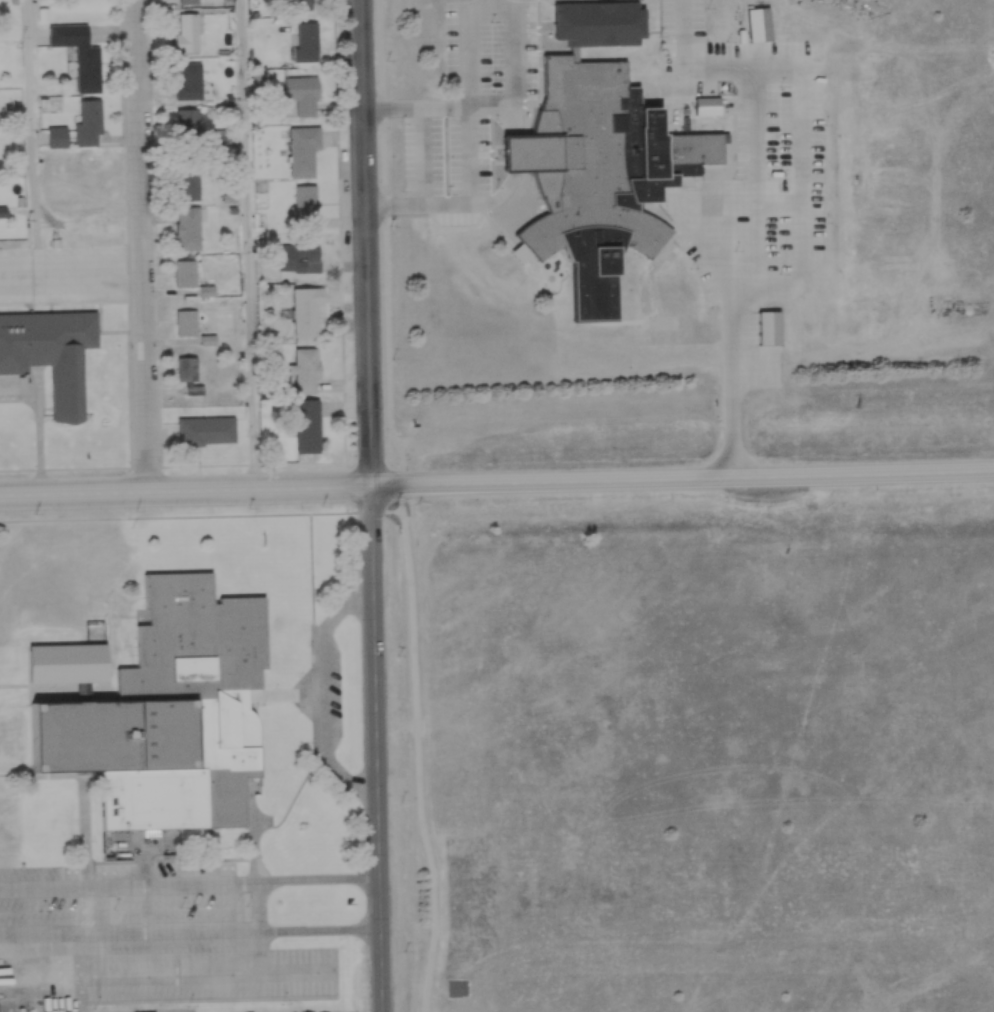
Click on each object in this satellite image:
building: (302, 0)
building: (188, 2)
building: (597, 22)
building: (758, 23)
building: (188, 32)
road: (691, 34)
building: (308, 41)
building: (80, 53)
parking lot: (724, 56)
building: (190, 81)
building: (301, 93)
road: (472, 100)
road: (497, 101)
parking lot: (473, 102)
building: (708, 106)
building: (90, 122)
building: (189, 124)
road: (652, 133)
building: (57, 136)
road: (35, 138)
building: (215, 141)
parking lot: (643, 147)
building: (693, 149)
building: (303, 150)
road: (429, 154)
building: (579, 161)
building: (190, 184)
road: (490, 201)
parking lot: (739, 203)
building: (306, 204)
building: (189, 227)
road: (368, 242)
road: (253, 243)
road: (144, 244)
building: (300, 258)
building: (186, 272)
road: (72, 275)
building: (307, 309)
building: (188, 320)
building: (768, 328)
helipad: (665, 333)
building: (52, 351)
building: (187, 367)
building: (306, 368)
building: (308, 423)
building: (208, 428)
road: (684, 481)
road: (187, 488)
building: (112, 600)
building: (169, 712)
road: (381, 748)
road: (423, 749)
road: (191, 879)
road: (307, 924)

